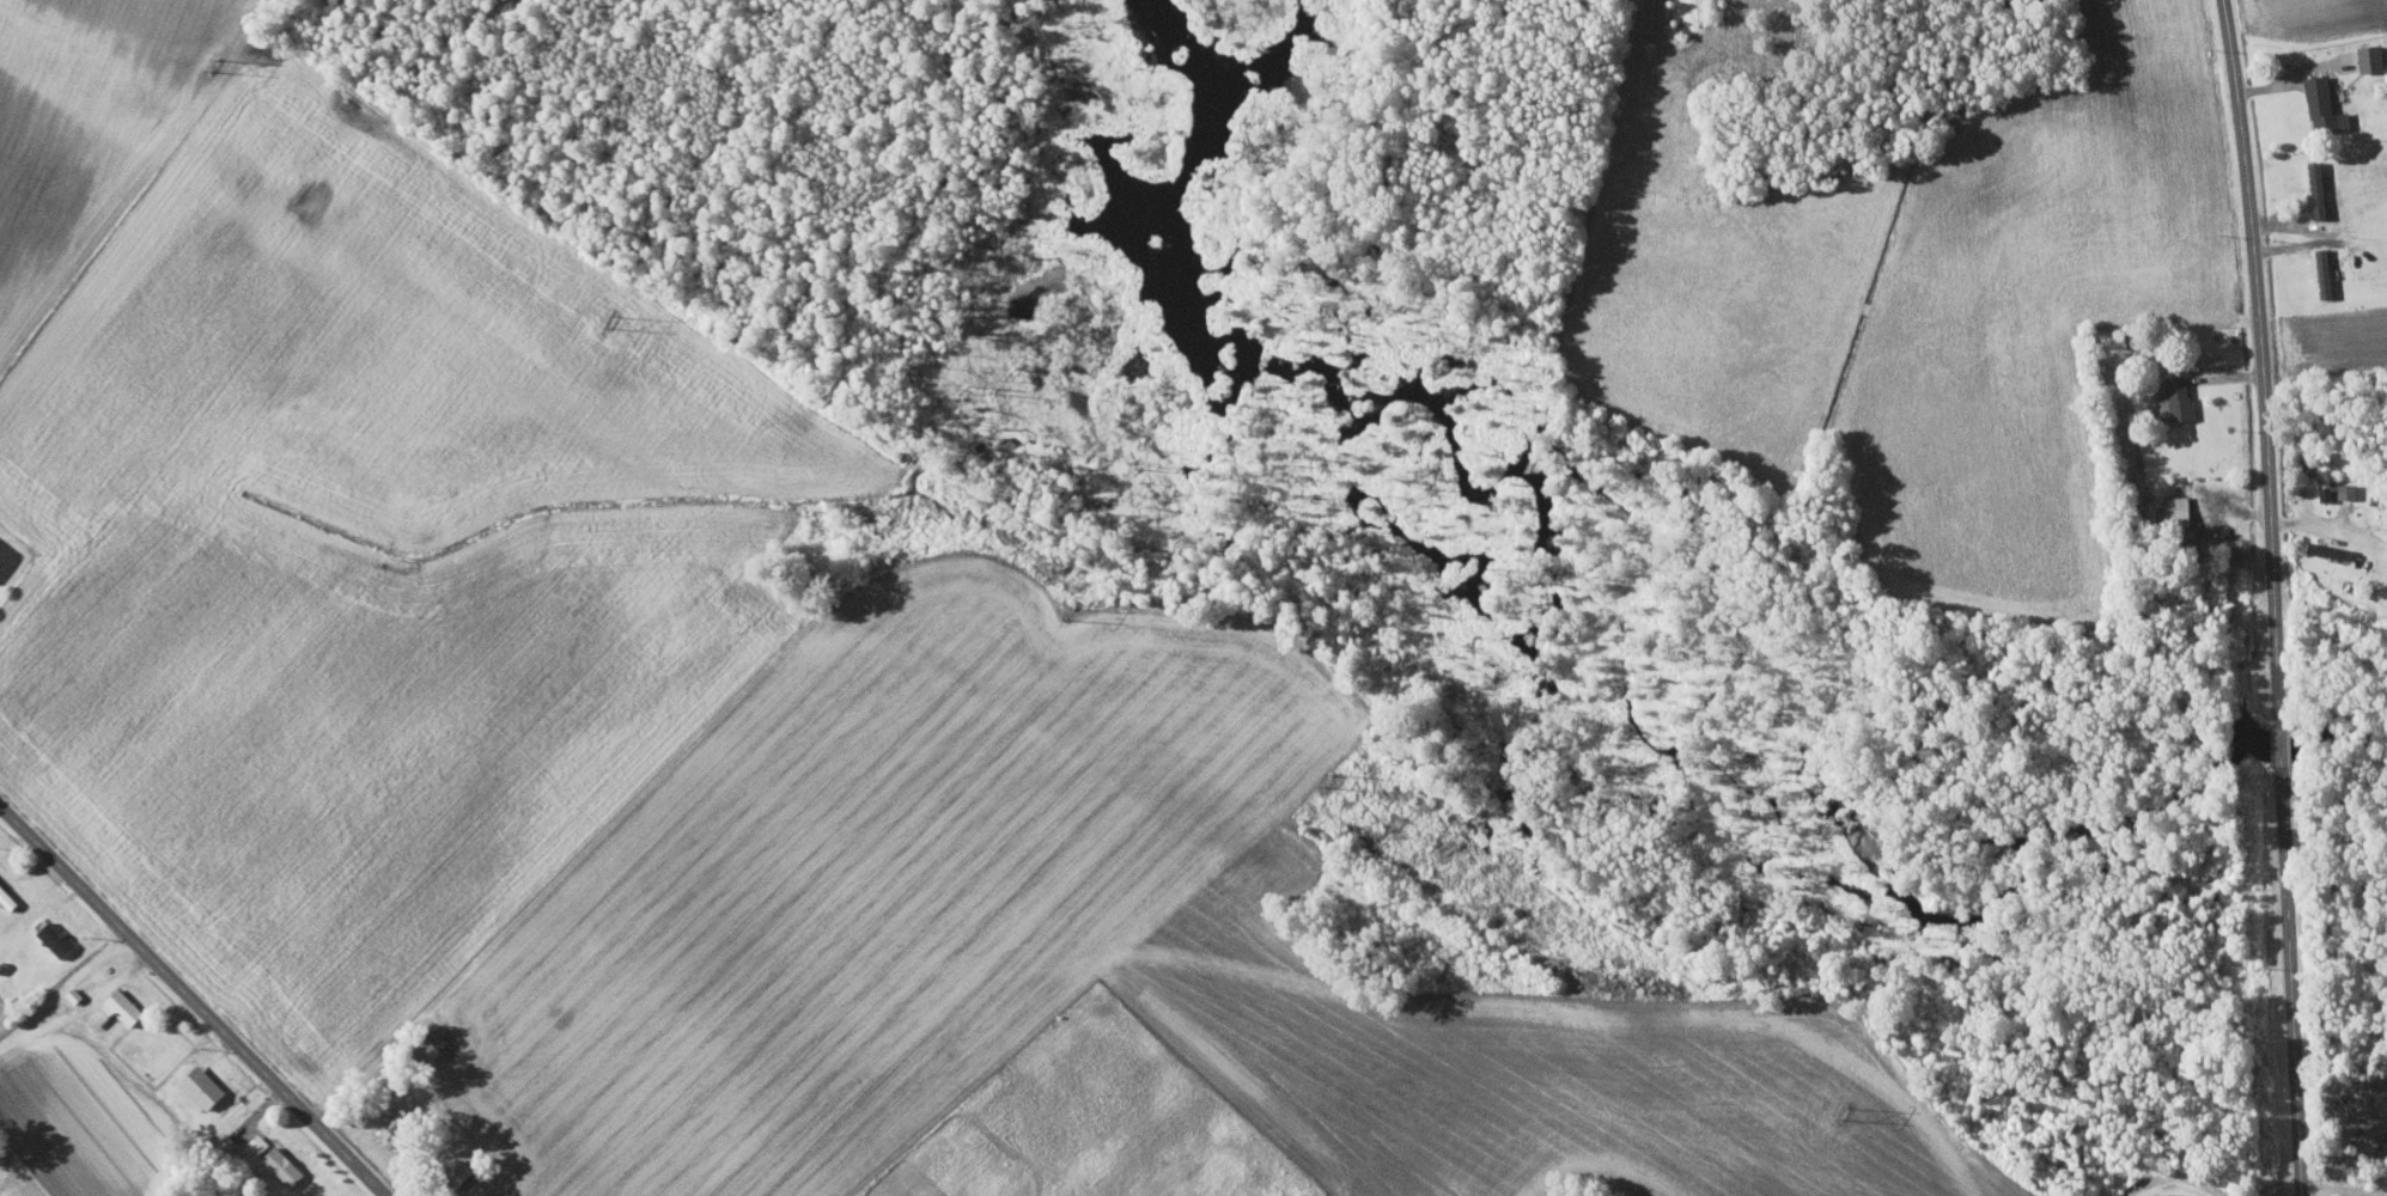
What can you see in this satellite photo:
building: (2375, 57)
power tower: (218, 61)
building: (2327, 105)
building: (2320, 189)
power tower: (614, 322)
road: (2259, 355)
building: (2178, 397)
building: (2326, 466)
building: (2180, 506)
building: (2182, 521)
building: (2331, 550)
power tower: (1070, 609)
road: (2281, 738)
power tower: (1328, 779)
building: (59, 938)
road: (2290, 980)
road: (63, 984)
road: (194, 999)
building: (120, 1008)
building: (206, 1086)
power tower: (1843, 1110)
building: (398, 1127)
road: (6, 1160)
building: (286, 1165)
road: (2173, 1185)
road: (2343, 1190)

